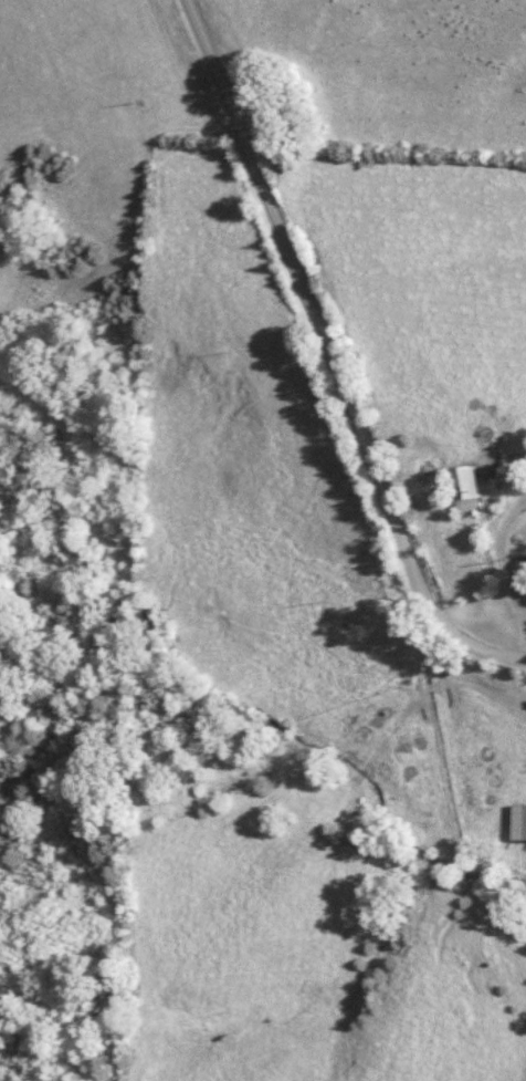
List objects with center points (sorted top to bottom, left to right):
road: (328, 356)
building: (524, 451)
building: (459, 489)
road: (497, 547)
building: (515, 821)

